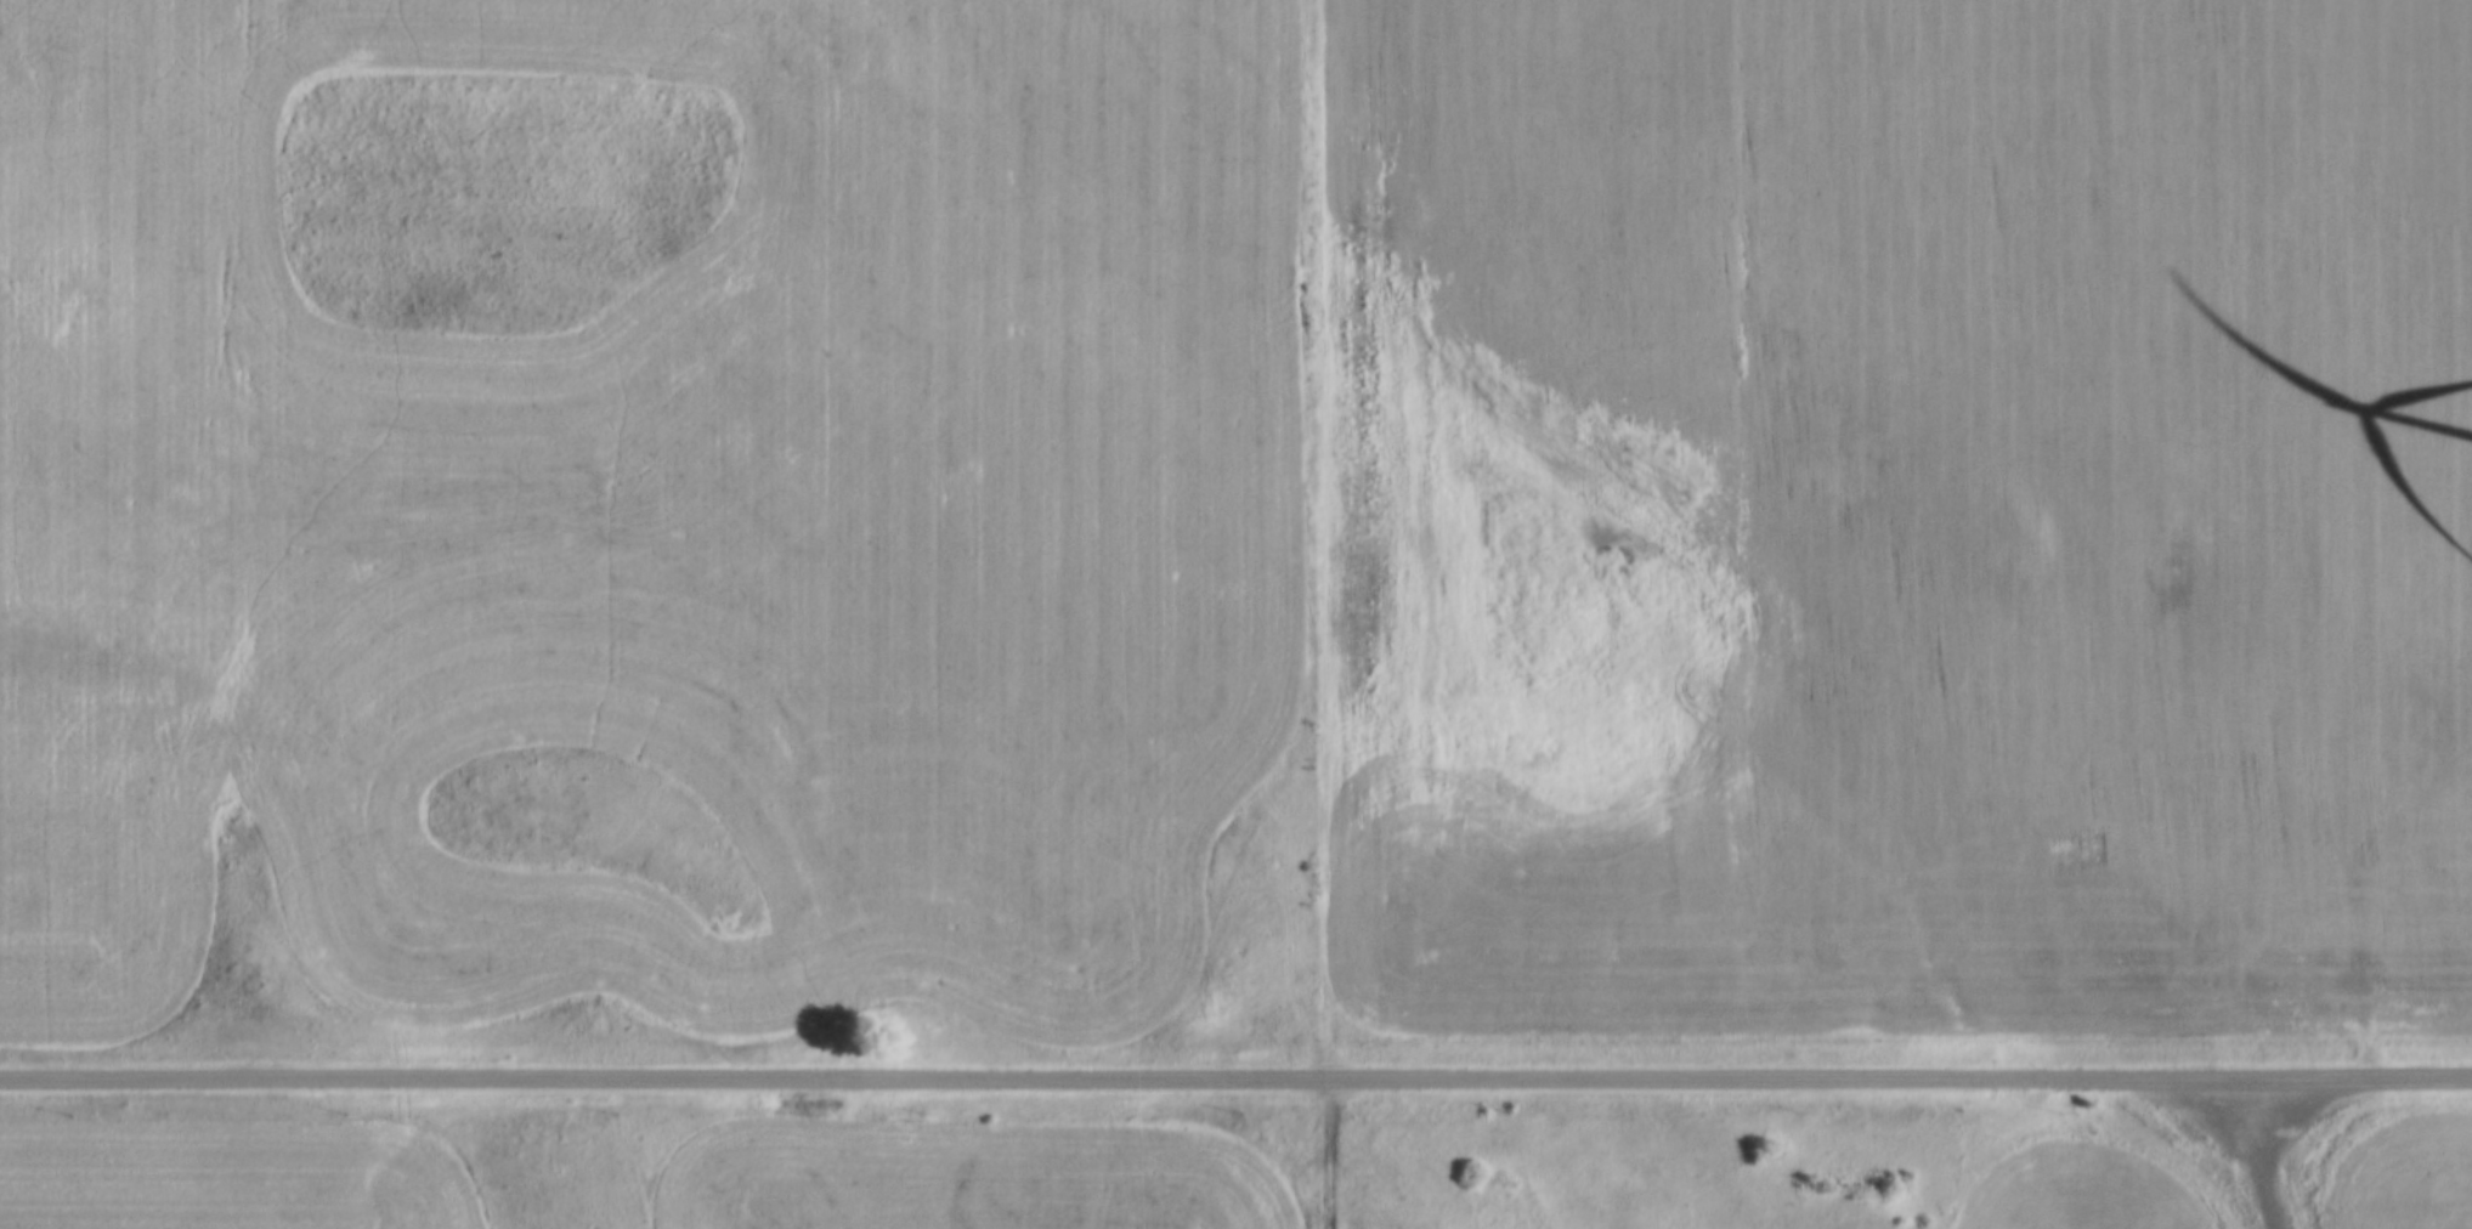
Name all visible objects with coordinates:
road: (1235, 1077)
road: (1330, 1151)

